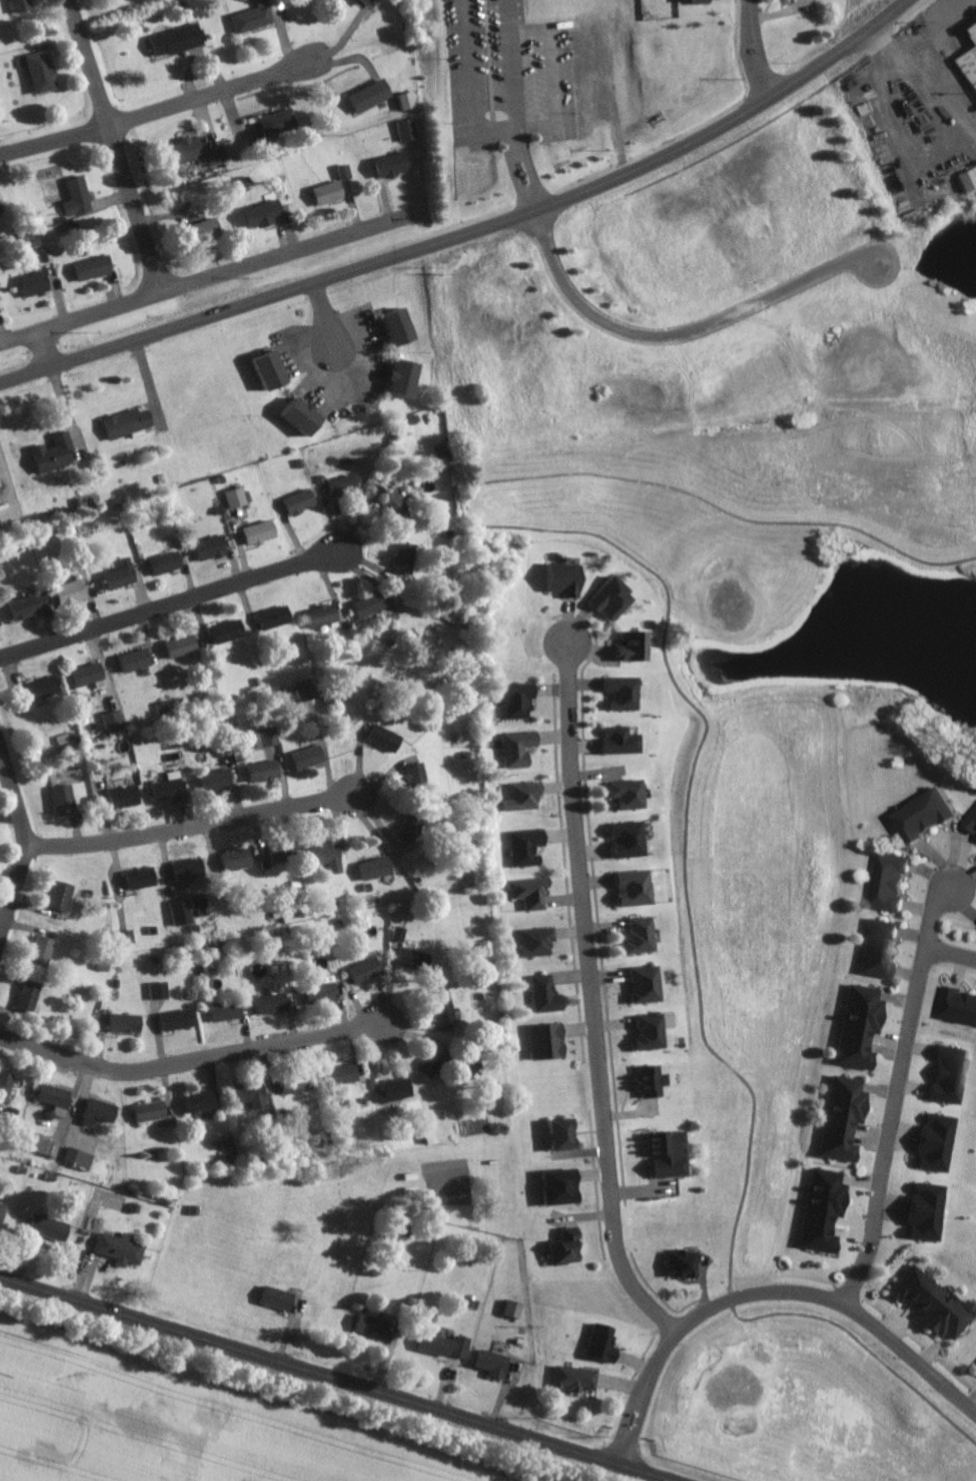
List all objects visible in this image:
building: (375, 1)
building: (688, 2)
building: (26, 5)
road: (748, 10)
building: (255, 17)
road: (528, 31)
building: (180, 39)
road: (922, 44)
building: (968, 51)
road: (763, 56)
road: (751, 61)
road: (510, 63)
building: (44, 71)
road: (553, 77)
road: (468, 85)
building: (372, 95)
building: (408, 100)
road: (159, 109)
building: (279, 121)
road: (537, 125)
building: (408, 129)
road: (517, 139)
road: (121, 145)
building: (199, 152)
building: (395, 164)
road: (530, 170)
road: (518, 173)
building: (965, 178)
building: (332, 189)
building: (79, 197)
road: (534, 200)
building: (266, 213)
building: (210, 227)
road: (471, 232)
building: (95, 267)
road: (202, 280)
building: (37, 283)
road: (325, 318)
building: (405, 327)
road: (679, 332)
road: (44, 348)
building: (276, 370)
building: (410, 377)
building: (307, 414)
building: (129, 422)
building: (444, 450)
building: (57, 453)
building: (346, 485)
road: (10, 487)
building: (239, 497)
building: (302, 501)
building: (4, 516)
building: (263, 532)
building: (214, 548)
building: (406, 557)
building: (169, 562)
building: (124, 574)
building: (566, 577)
building: (73, 592)
building: (610, 598)
road: (168, 603)
building: (370, 604)
building: (31, 606)
building: (323, 615)
building: (277, 616)
building: (1, 620)
building: (231, 631)
building: (185, 645)
building: (634, 645)
building: (138, 660)
building: (91, 674)
building: (45, 688)
building: (308, 690)
building: (625, 692)
building: (520, 700)
building: (115, 720)
building: (268, 737)
building: (388, 738)
building: (623, 741)
building: (522, 749)
building: (311, 757)
building: (268, 770)
building: (414, 772)
building: (217, 779)
building: (171, 788)
building: (631, 793)
building: (127, 796)
building: (527, 797)
building: (66, 799)
building: (935, 806)
building: (910, 821)
building: (972, 821)
road: (188, 826)
building: (413, 829)
building: (632, 838)
road: (23, 845)
building: (528, 846)
building: (281, 852)
building: (331, 855)
building: (238, 859)
building: (891, 867)
building: (379, 868)
building: (190, 869)
building: (144, 878)
building: (639, 887)
building: (533, 893)
building: (63, 895)
building: (885, 895)
building: (182, 912)
building: (401, 933)
building: (879, 933)
building: (644, 934)
building: (128, 936)
building: (539, 942)
building: (45, 950)
road: (950, 953)
building: (411, 957)
building: (874, 962)
building: (368, 970)
building: (648, 985)
building: (160, 990)
building: (33, 993)
building: (548, 994)
building: (325, 995)
road: (593, 1001)
building: (861, 1001)
building: (274, 1003)
building: (954, 1005)
building: (228, 1011)
building: (972, 1011)
building: (447, 1012)
building: (179, 1020)
building: (129, 1023)
building: (855, 1026)
building: (653, 1032)
building: (549, 1041)
building: (850, 1055)
building: (435, 1059)
road: (191, 1060)
building: (947, 1060)
building: (348, 1074)
building: (652, 1081)
building: (7, 1082)
building: (296, 1086)
building: (942, 1088)
building: (396, 1090)
building: (843, 1092)
building: (255, 1097)
road: (897, 1097)
building: (58, 1100)
building: (203, 1101)
building: (153, 1110)
building: (101, 1112)
building: (838, 1117)
building: (935, 1128)
building: (567, 1134)
building: (47, 1146)
building: (833, 1146)
building: (670, 1154)
building: (930, 1155)
building: (81, 1158)
building: (827, 1183)
building: (564, 1186)
building: (923, 1195)
building: (821, 1208)
building: (4, 1212)
building: (919, 1223)
building: (51, 1228)
building: (816, 1237)
building: (568, 1247)
building: (122, 1248)
building: (678, 1263)
building: (908, 1284)
road: (766, 1292)
building: (281, 1298)
building: (930, 1303)
building: (509, 1308)
building: (949, 1319)
building: (366, 1324)
building: (596, 1342)
building: (440, 1344)
building: (487, 1362)
building: (974, 1367)
building: (570, 1377)
road: (331, 1381)

